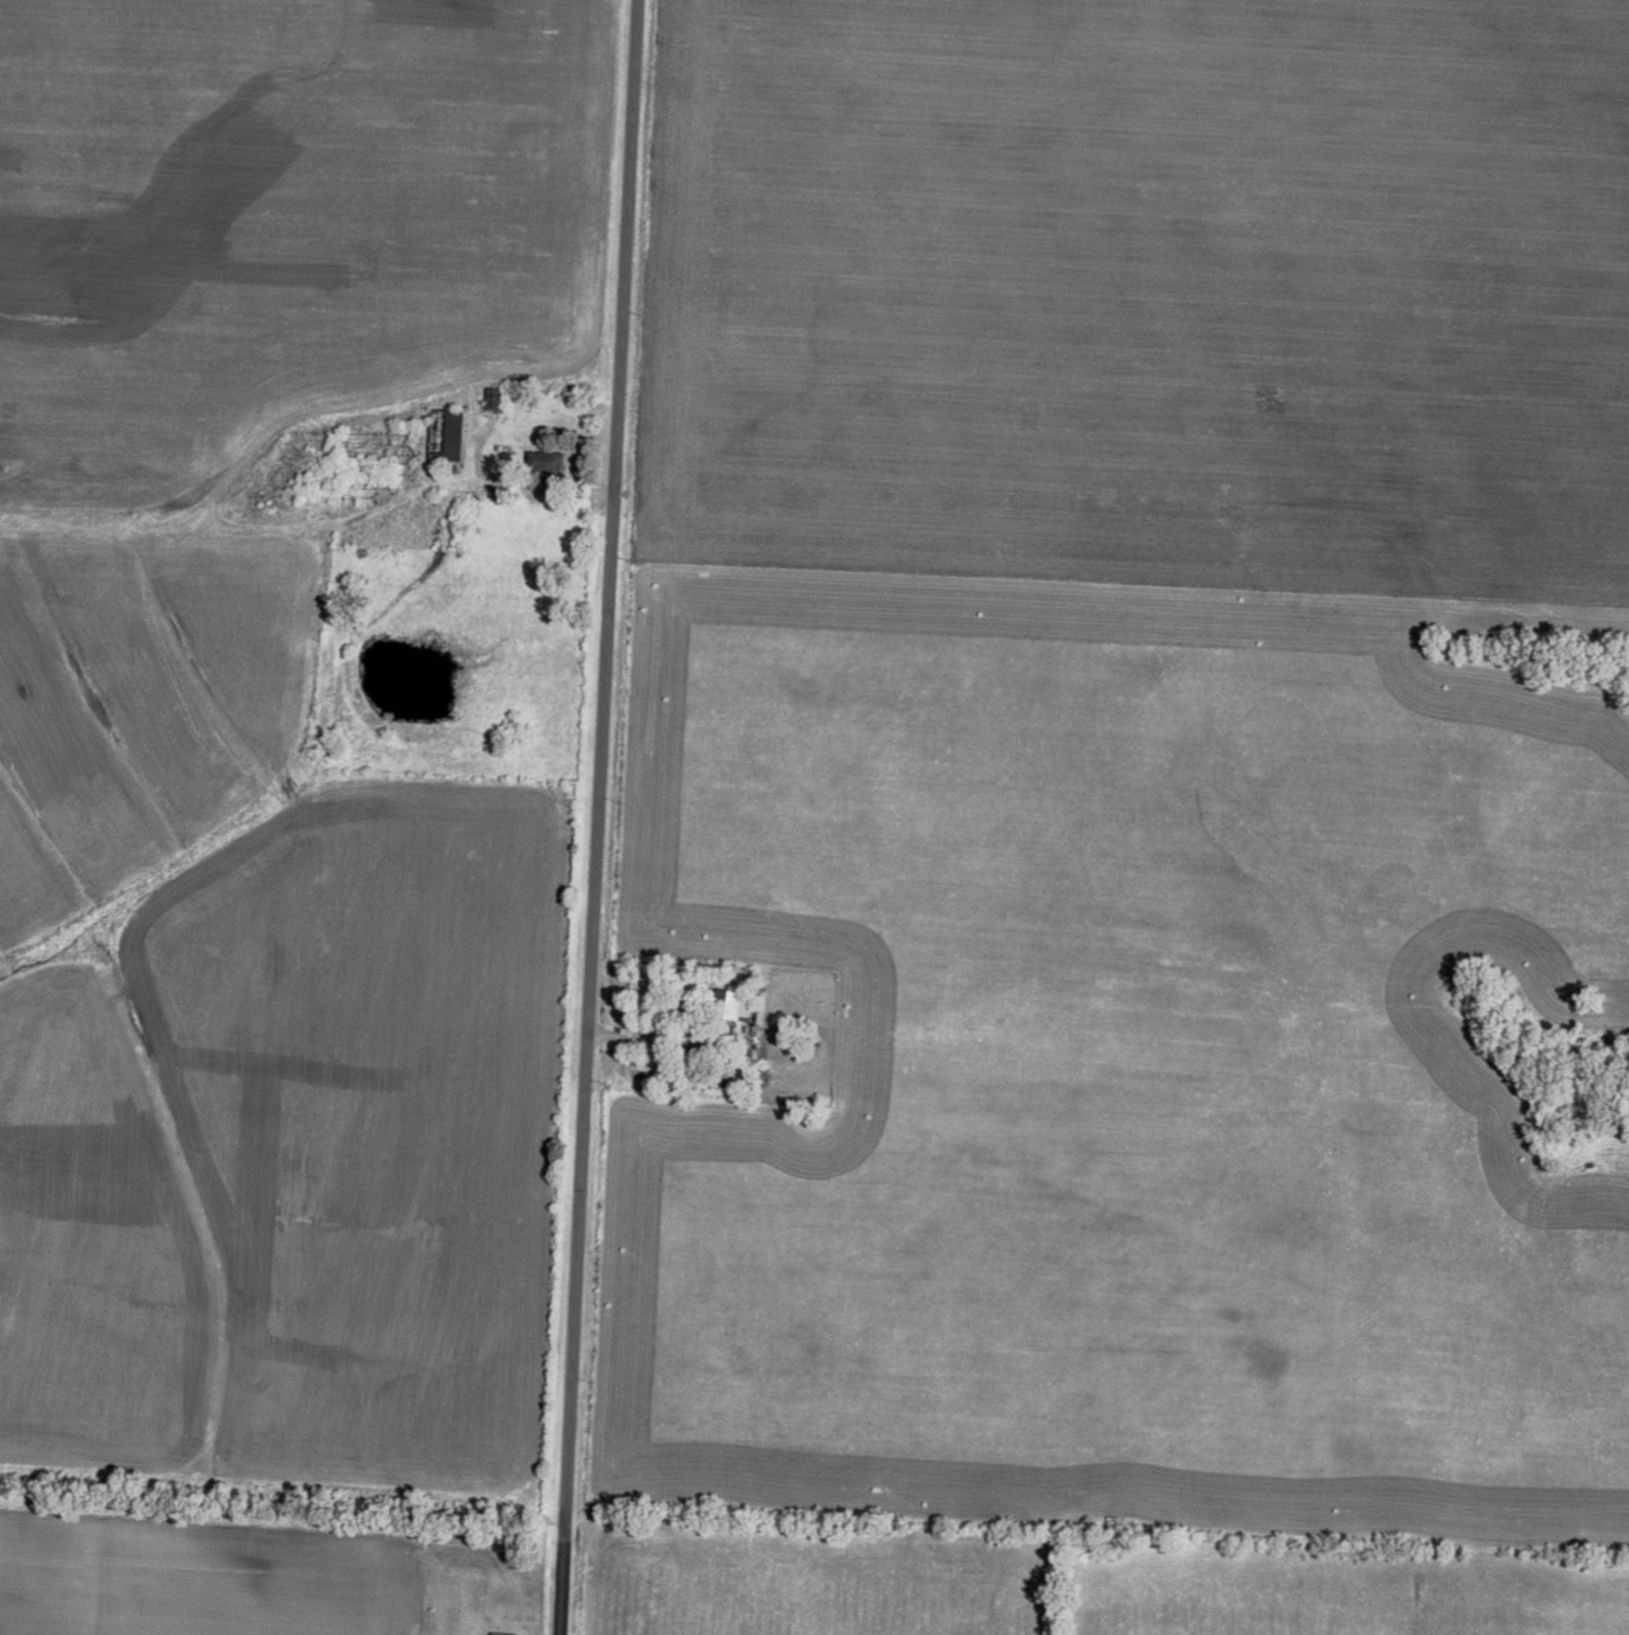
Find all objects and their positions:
building: (543, 457)
road: (311, 525)
road: (597, 816)
building: (502, 1632)

